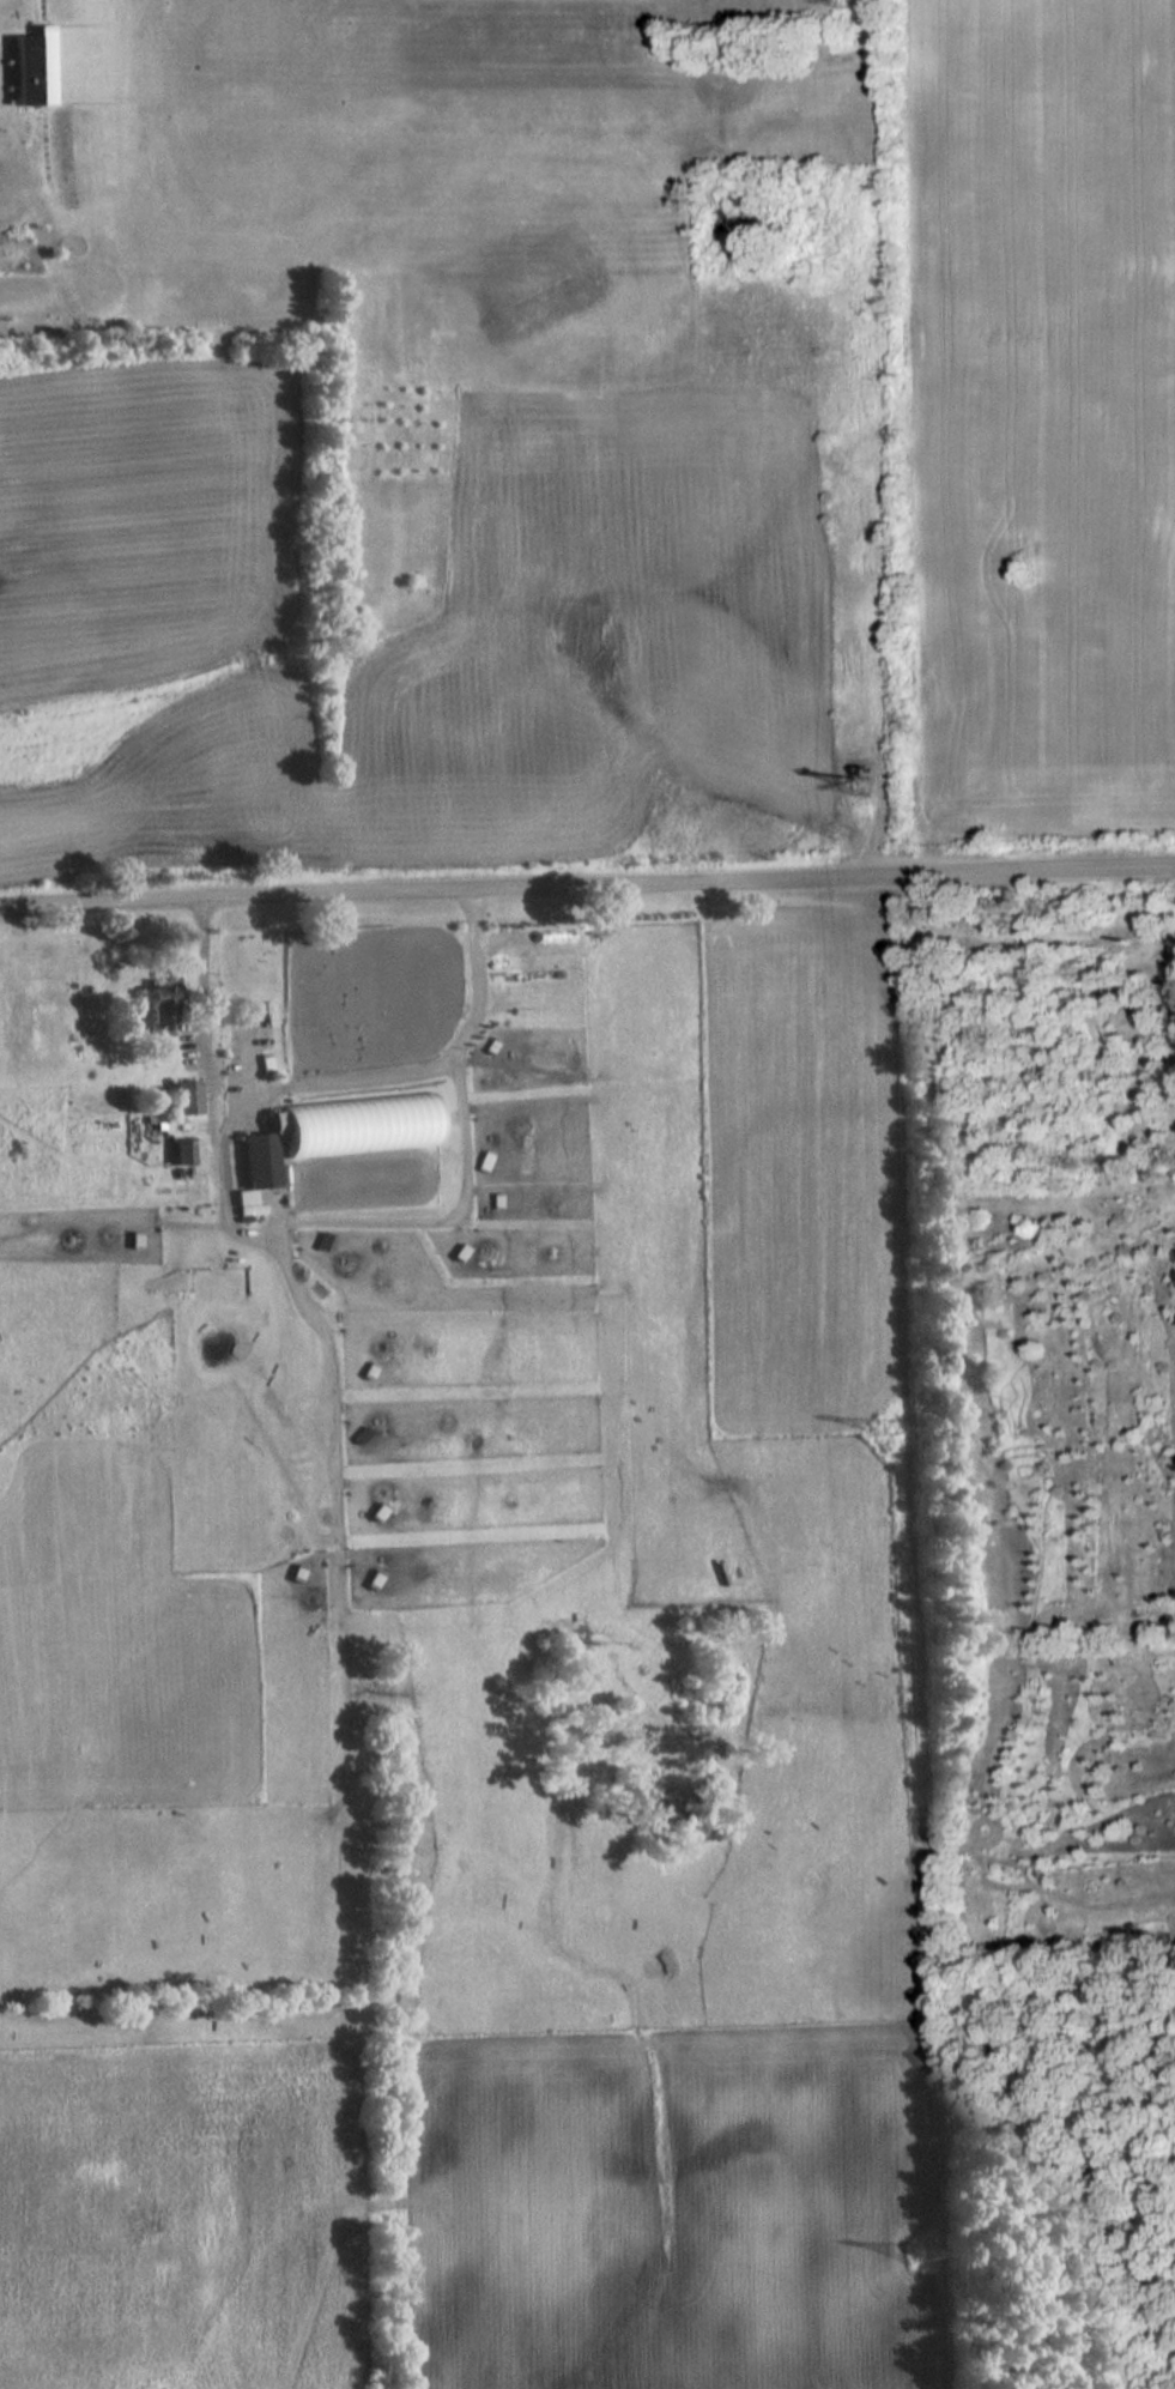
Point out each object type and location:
power tower: (850, 2)
building: (36, 68)
power tower: (865, 784)
road: (587, 888)
road: (199, 993)
building: (163, 1006)
building: (187, 1099)
building: (338, 1131)
building: (183, 1153)
road: (231, 1173)
power tower: (891, 1425)
building: (363, 1434)
power tower: (920, 2254)

